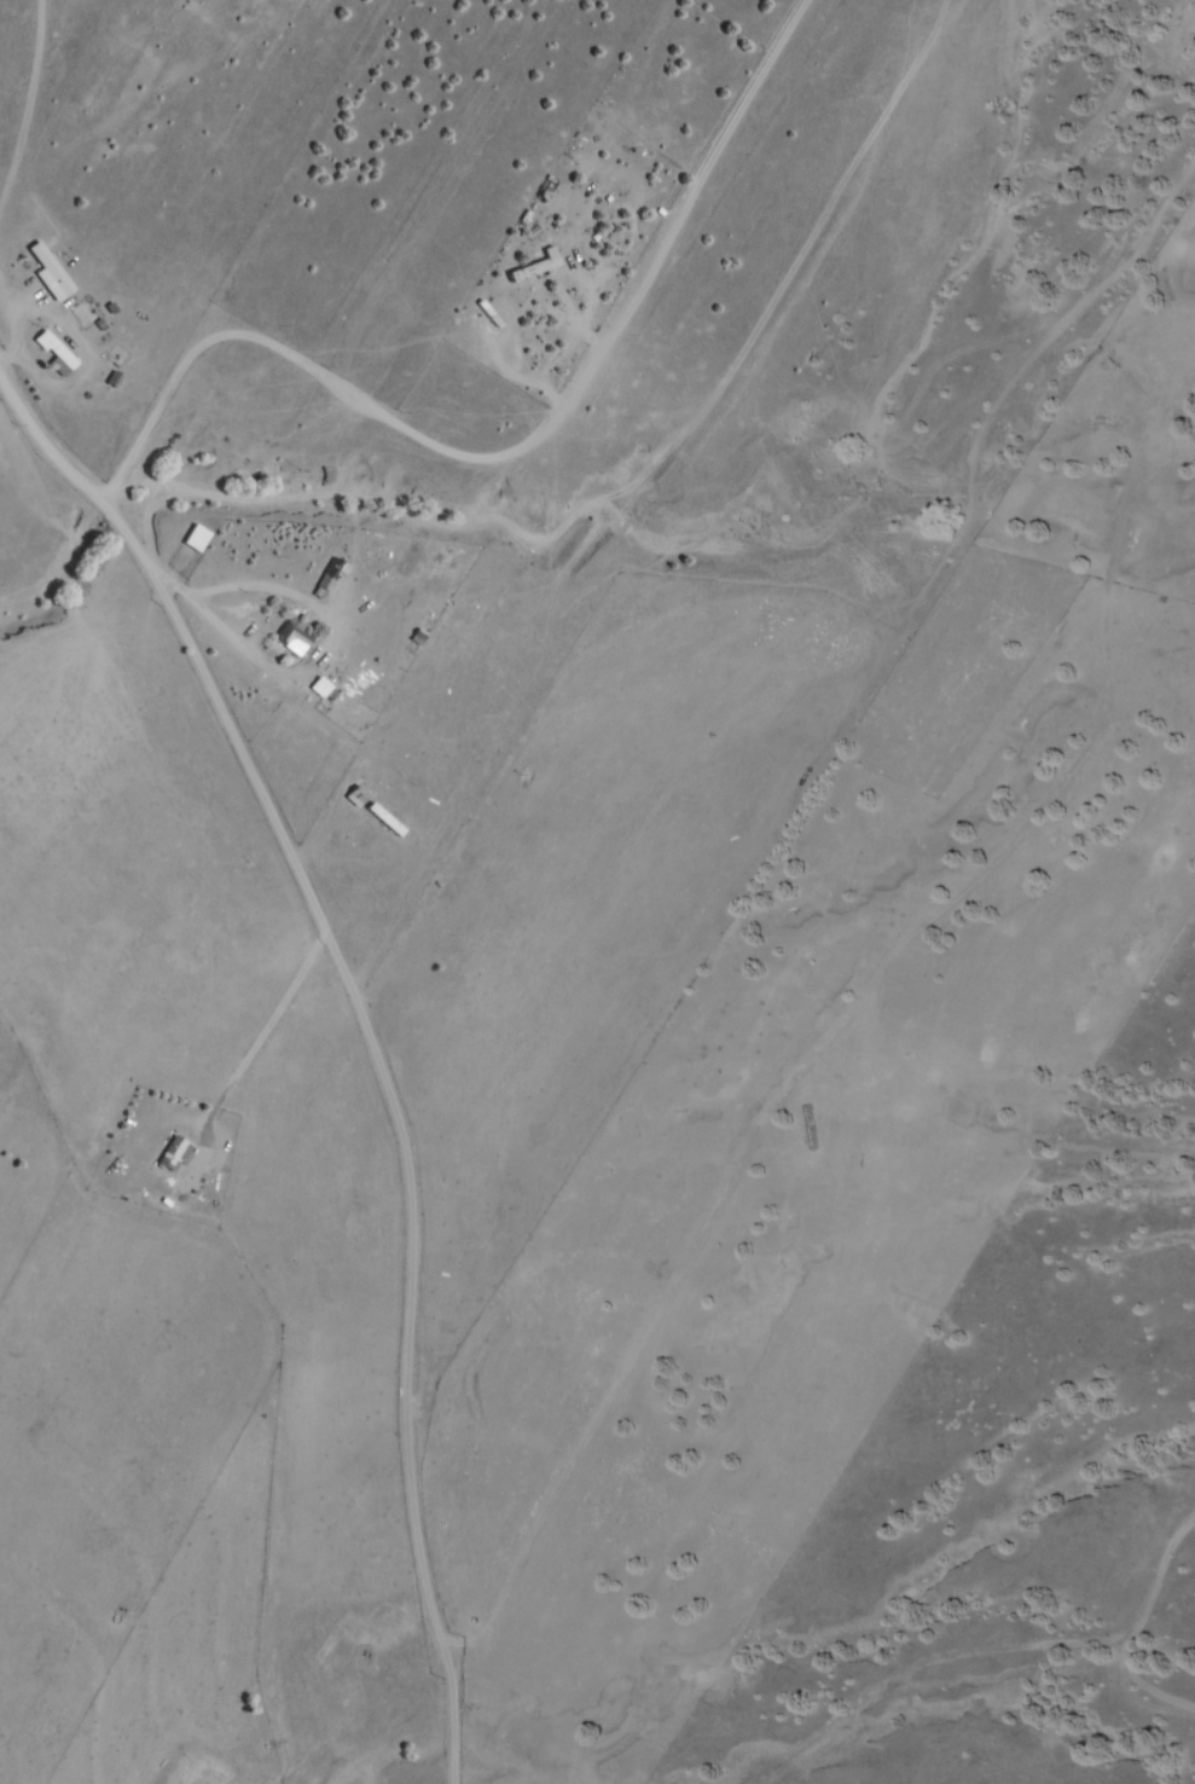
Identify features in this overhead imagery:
building: (45, 273)
building: (52, 355)
road: (97, 504)
building: (191, 540)
building: (326, 578)
building: (353, 795)
building: (169, 1157)

